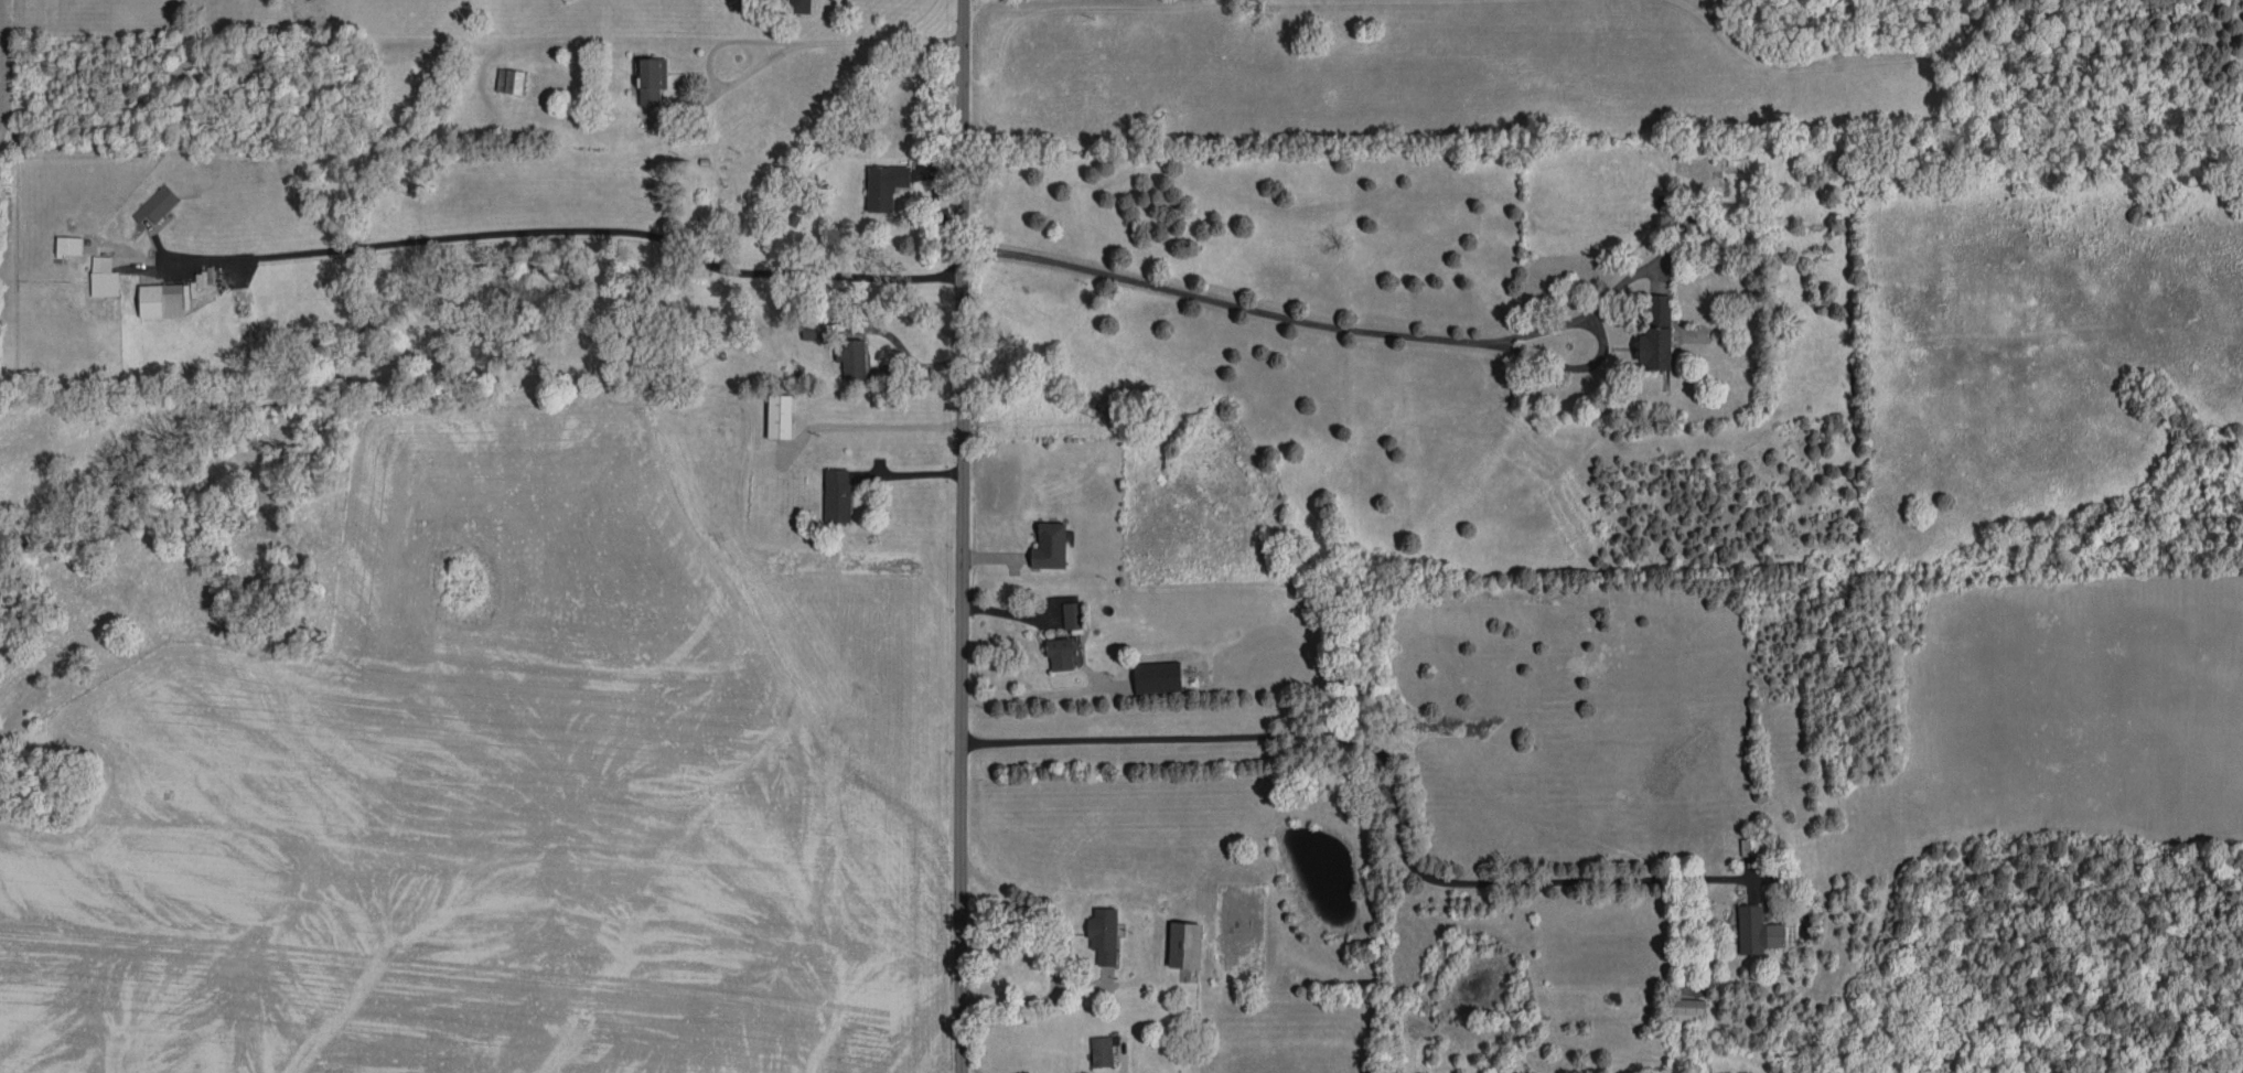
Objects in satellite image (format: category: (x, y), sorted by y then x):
building: (798, 7)
road: (801, 45)
building: (509, 81)
building: (652, 81)
building: (884, 186)
building: (157, 204)
road: (576, 232)
building: (69, 246)
building: (104, 277)
building: (170, 296)
road: (1308, 323)
building: (1657, 335)
building: (851, 358)
building: (780, 416)
building: (837, 495)
road: (960, 536)
building: (1050, 546)
road: (616, 552)
building: (1070, 615)
building: (1060, 654)
building: (1158, 677)
road: (1027, 694)
road: (1391, 769)
building: (1749, 847)
road: (1016, 893)
building: (1758, 931)
building: (1103, 935)
building: (1184, 945)
building: (1687, 1011)
building: (1102, 1051)
road: (1127, 1067)

